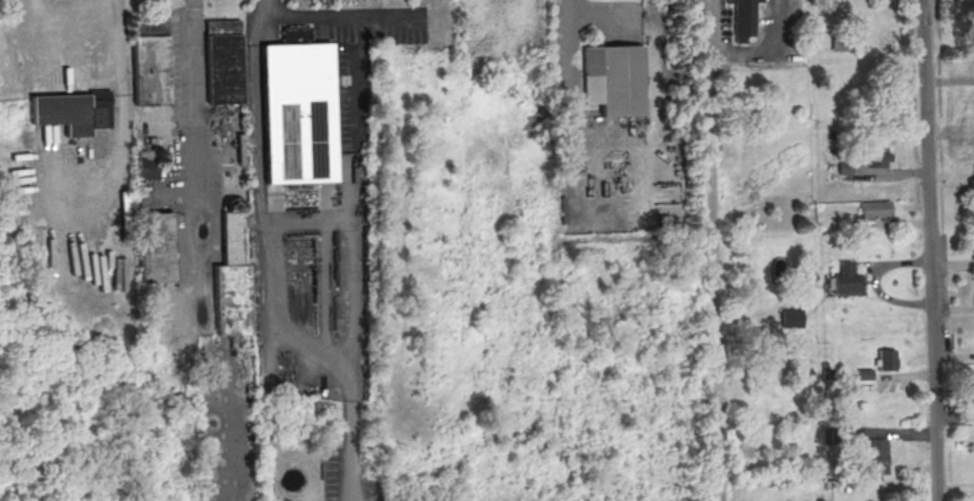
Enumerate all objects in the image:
road: (343, 16)
road: (576, 18)
building: (744, 19)
road: (54, 36)
road: (745, 54)
building: (223, 62)
building: (151, 65)
road: (353, 76)
building: (614, 80)
road: (117, 110)
building: (73, 112)
building: (298, 114)
road: (194, 139)
building: (875, 158)
building: (147, 168)
building: (971, 189)
building: (876, 210)
building: (156, 246)
road: (709, 250)
road: (928, 250)
building: (973, 253)
road: (348, 256)
road: (276, 261)
building: (232, 278)
building: (845, 280)
building: (791, 318)
building: (886, 359)
building: (973, 404)
building: (877, 452)

